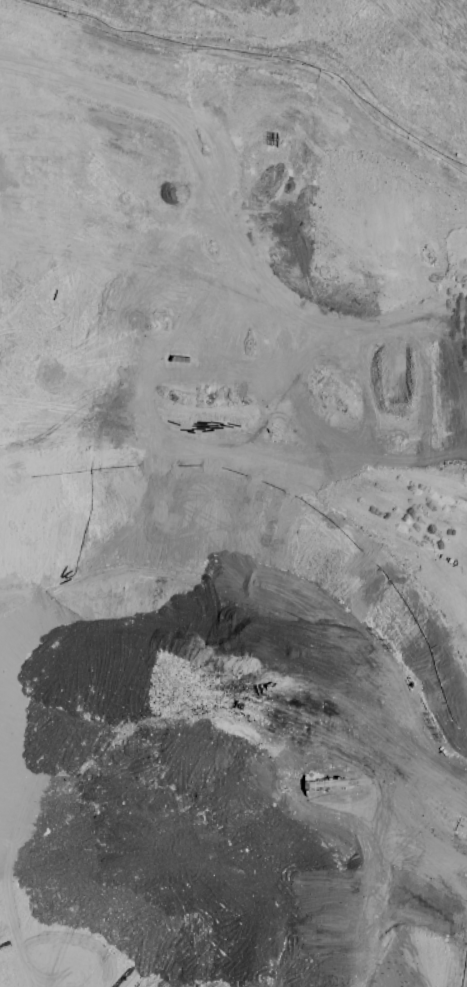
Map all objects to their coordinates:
landfill: (248, 546)

